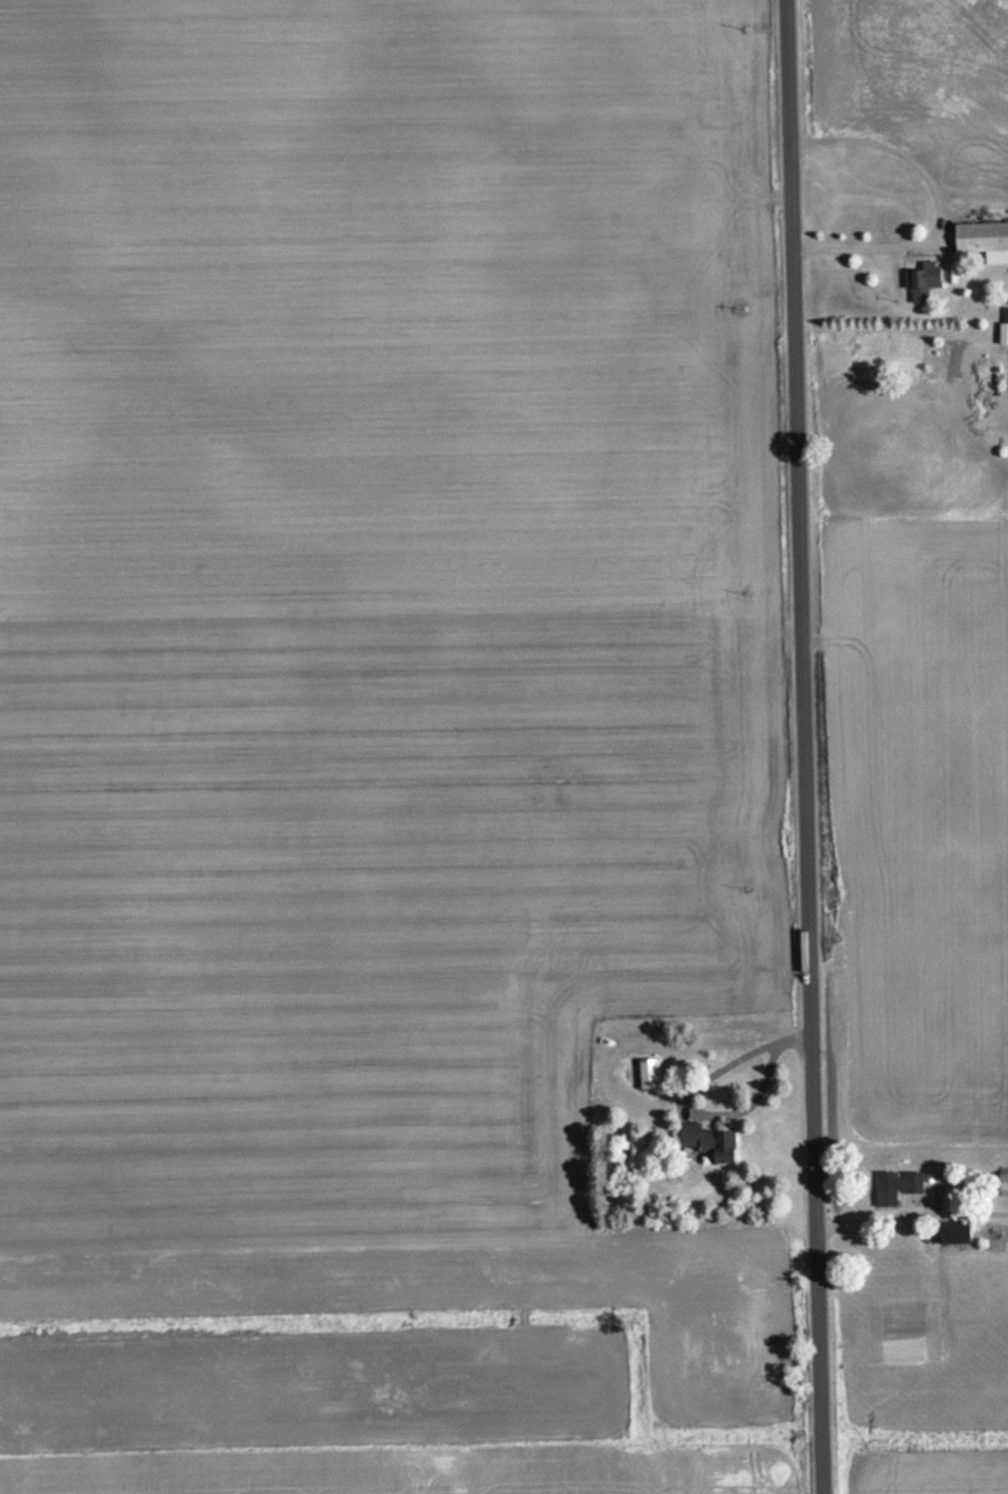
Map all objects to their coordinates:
road: (934, 205)
building: (981, 241)
building: (921, 282)
road: (810, 746)
building: (647, 1073)
building: (709, 1142)
building: (1001, 1182)
building: (895, 1186)

